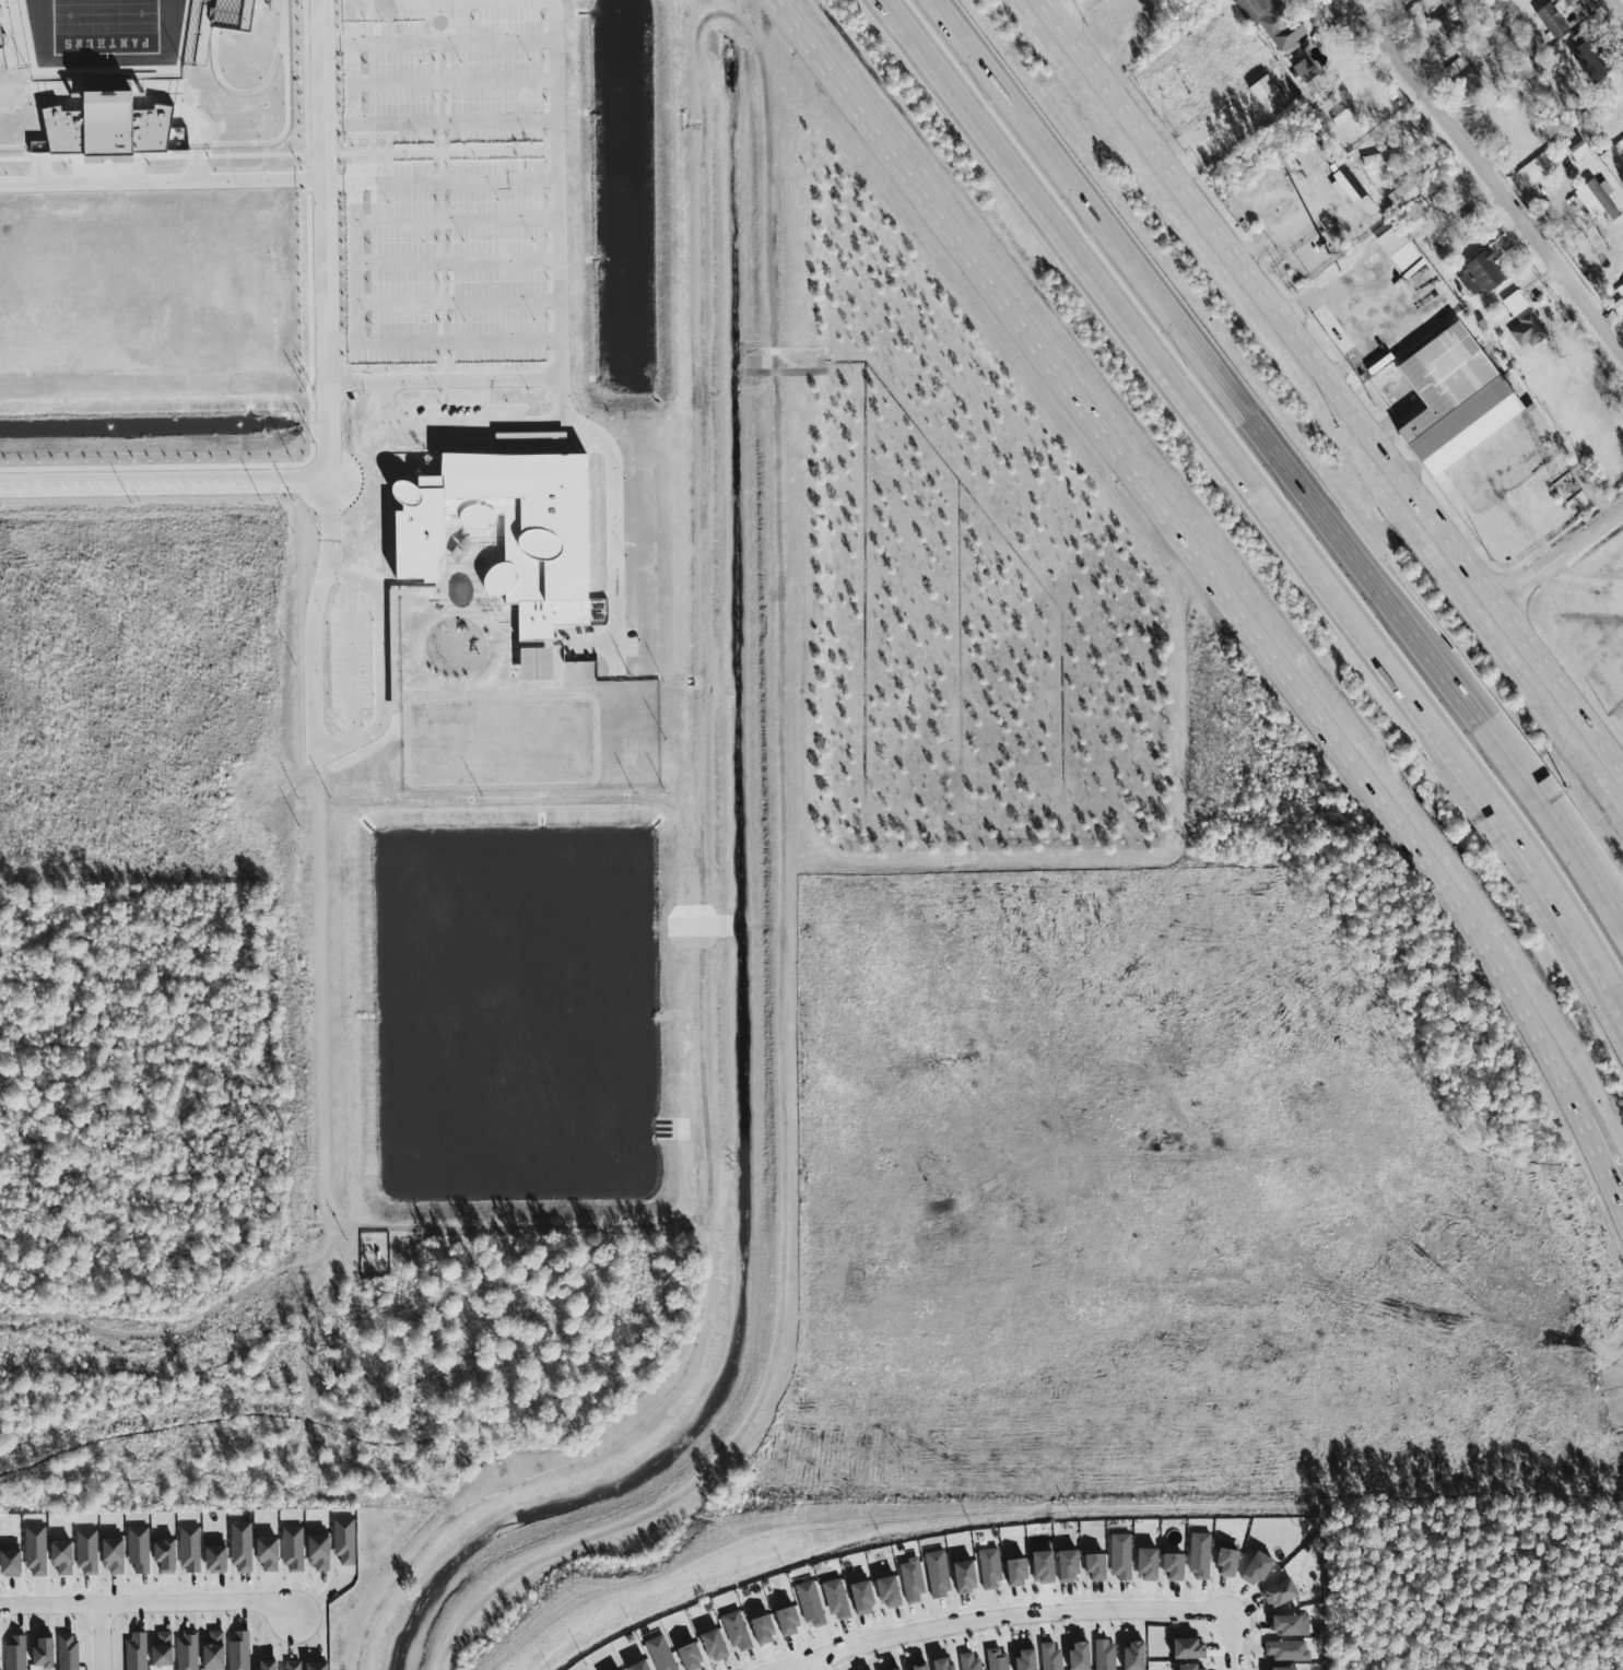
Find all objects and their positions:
road: (1621, 1)
road: (1075, 12)
building: (246, 13)
building: (1274, 21)
building: (1553, 21)
building: (1445, 24)
park: (104, 26)
building: (13, 40)
building: (1590, 59)
building: (1307, 71)
stadium: (144, 74)
road: (350, 83)
building: (1270, 95)
road: (438, 122)
building: (109, 126)
building: (1583, 150)
building: (1377, 158)
road: (1492, 173)
road: (439, 181)
road: (161, 183)
parking lot: (445, 190)
building: (1353, 190)
building: (1399, 196)
building: (1598, 199)
road: (557, 208)
building: (1420, 211)
road: (324, 242)
building: (1400, 247)
road: (353, 263)
building: (1483, 274)
building: (1525, 321)
road: (444, 342)
road: (1337, 376)
building: (1458, 397)
road: (1281, 460)
road: (165, 485)
road: (1248, 507)
building: (507, 531)
road: (1195, 552)
road: (1567, 557)
building: (539, 665)
road: (1603, 1168)
road: (1615, 1372)
road: (1615, 1376)
road: (1611, 1393)
road: (1619, 1408)
road: (1619, 1409)
building: (345, 1541)
building: (242, 1546)
building: (294, 1549)
building: (36, 1550)
building: (140, 1550)
building: (190, 1550)
building: (87, 1552)
building: (321, 1552)
building: (269, 1554)
building: (115, 1556)
building: (167, 1556)
building: (216, 1556)
building: (1122, 1556)
building: (1201, 1556)
building: (63, 1559)
building: (12, 1560)
building: (1045, 1562)
building: (1230, 1562)
building: (1150, 1564)
building: (1071, 1566)
building: (1176, 1567)
building: (1099, 1568)
building: (1260, 1568)
building: (991, 1569)
building: (1020, 1573)
building: (939, 1574)
building: (967, 1577)
building: (914, 1581)
building: (892, 1591)
building: (1282, 1595)
building: (866, 1598)
building: (838, 1600)
road: (148, 1602)
building: (812, 1604)
road: (999, 1615)
building: (790, 1621)
building: (1293, 1626)
building: (765, 1630)
building: (738, 1632)
road: (102, 1636)
road: (1233, 1640)
building: (717, 1645)
building: (1190, 1649)
building: (163, 1650)
building: (188, 1650)
building: (215, 1650)
building: (137, 1651)
building: (240, 1651)
building: (1289, 1651)
building: (69, 1653)
building: (16, 1654)
building: (45, 1654)
building: (1083, 1656)
building: (1106, 1656)
building: (1052, 1657)
building: (1138, 1657)
building: (693, 1658)
building: (1, 1659)
building: (999, 1660)
building: (971, 1661)
road: (818, 1662)
building: (945, 1665)
building: (292, 1666)
building: (319, 1667)
building: (922, 1668)
building: (1195, 1668)
building: (904, 1669)
building: (1283, 1669)

